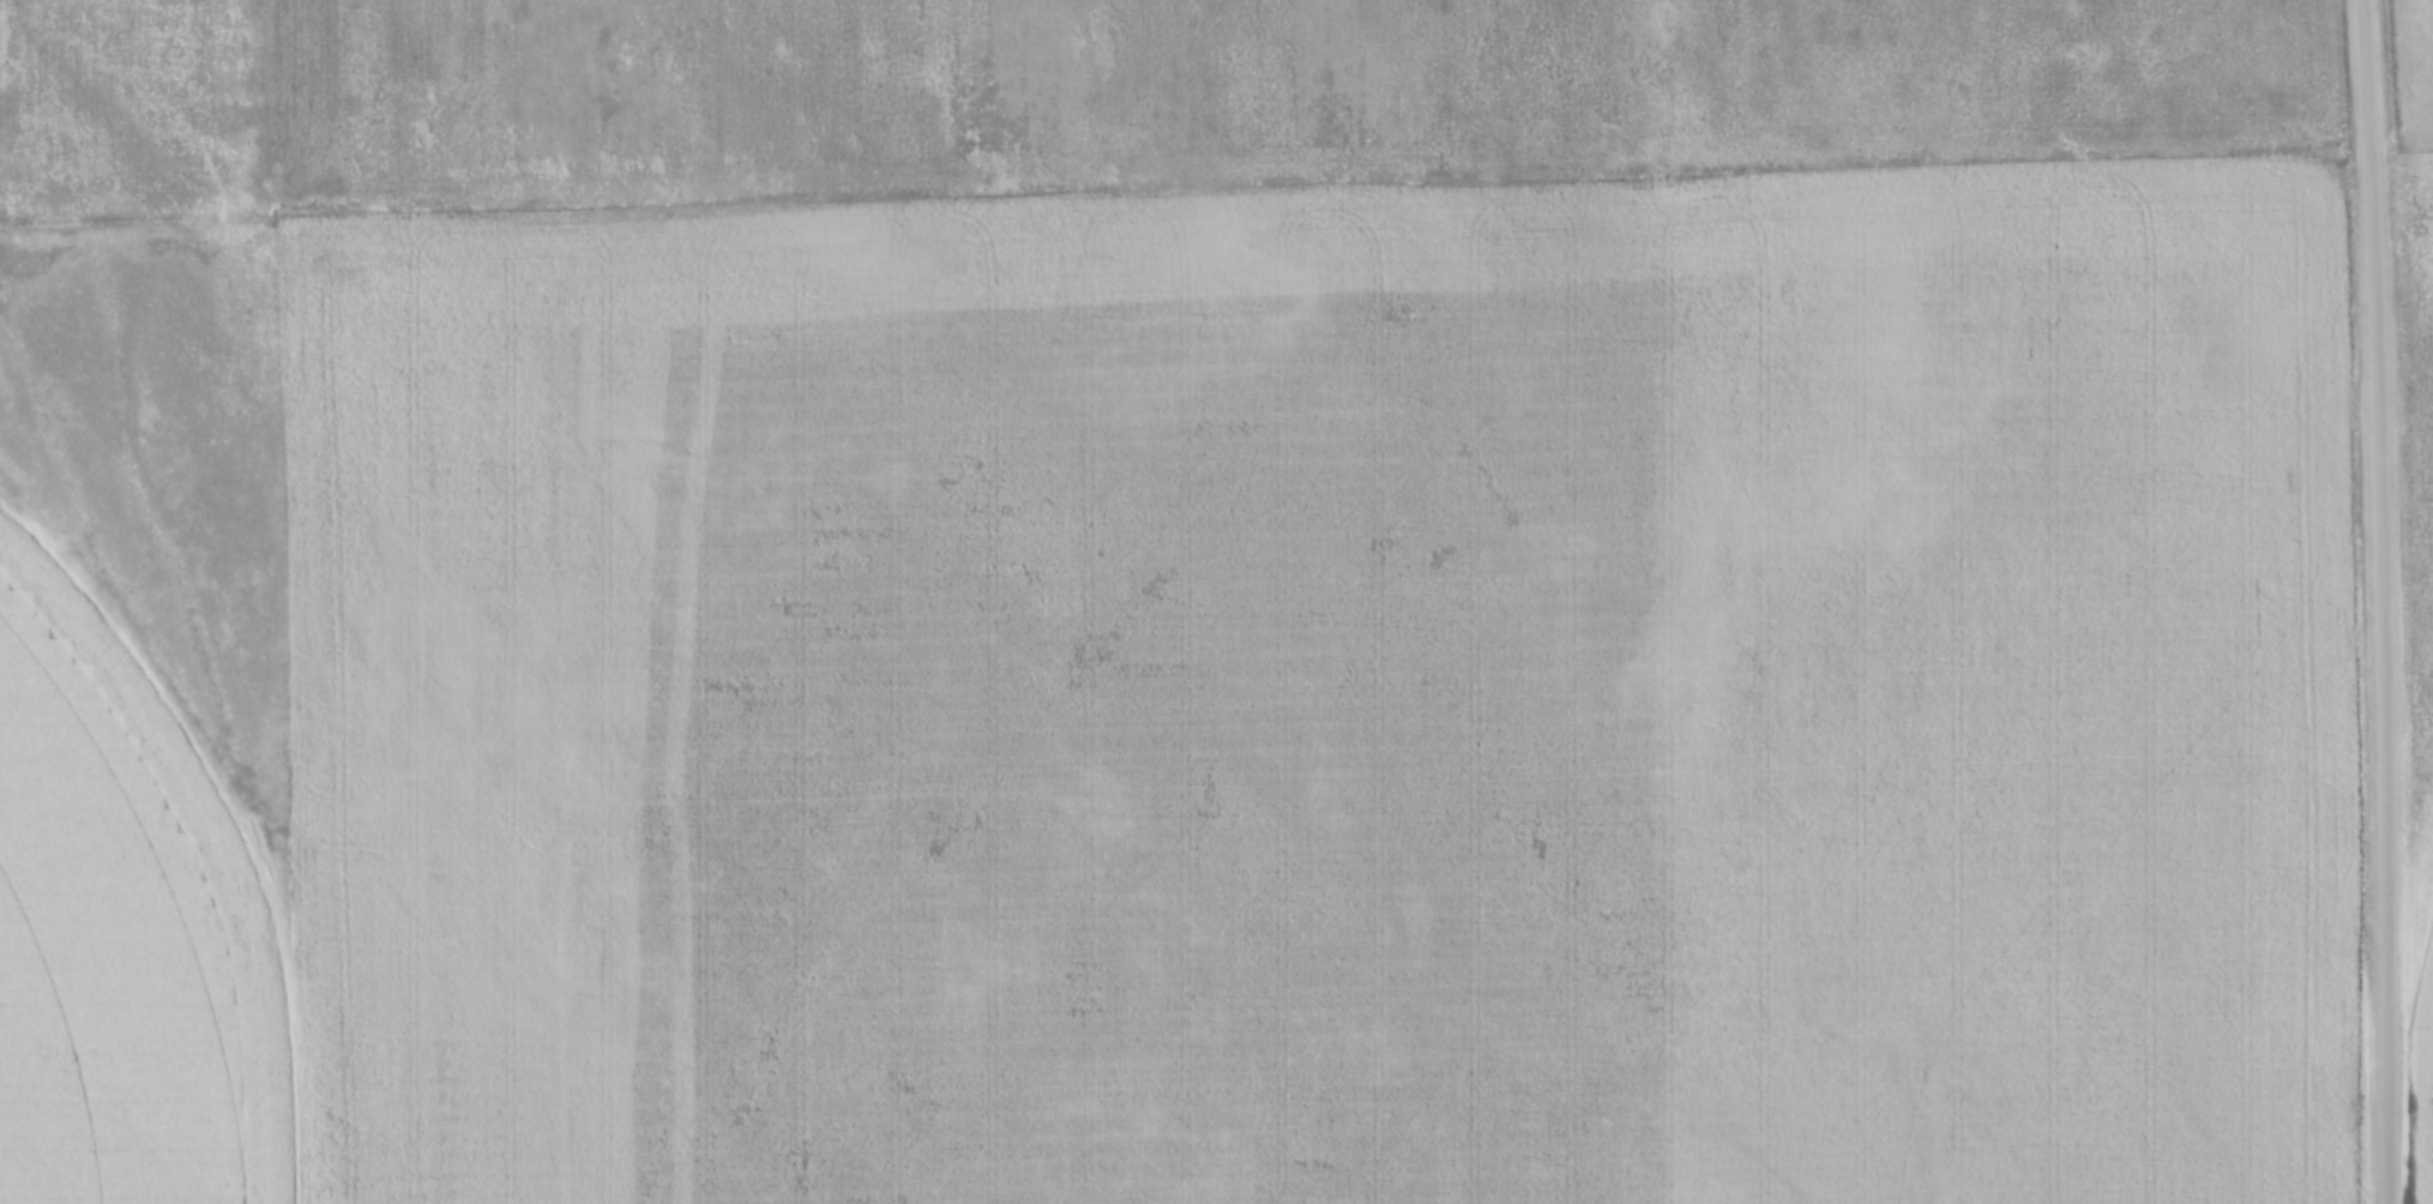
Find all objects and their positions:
road: (2384, 601)

